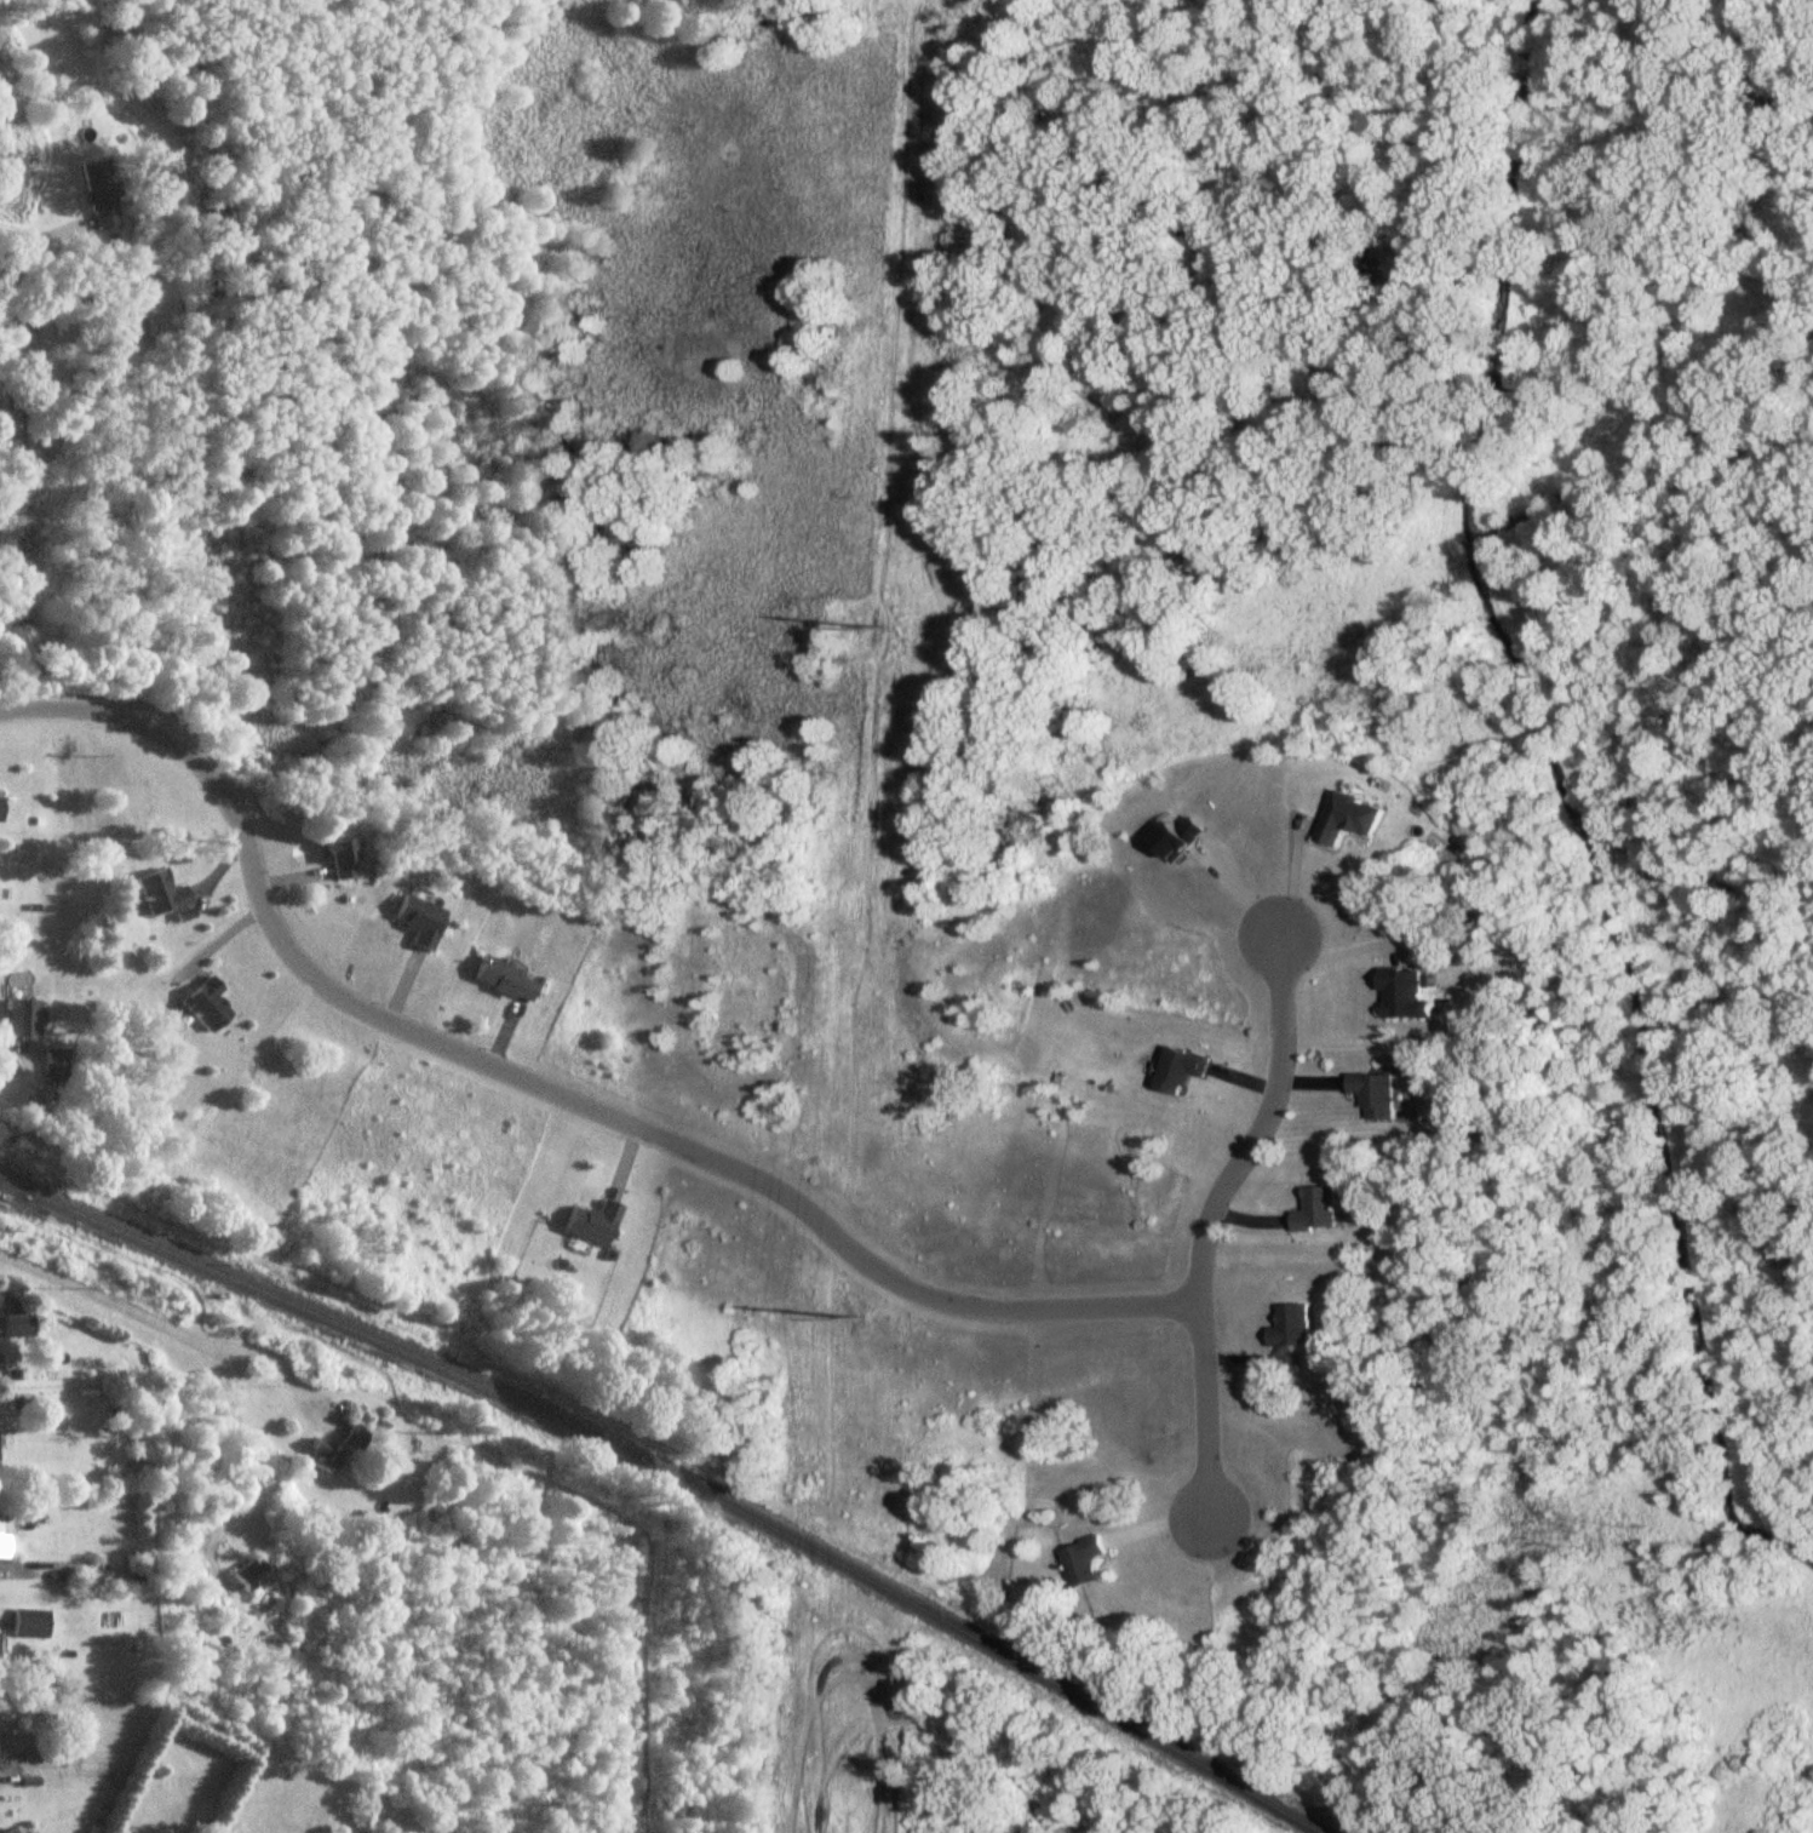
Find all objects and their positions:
building: (102, 195)
road: (39, 230)
building: (138, 328)
power tower: (884, 629)
building: (0, 804)
building: (1347, 818)
building: (344, 857)
road: (1295, 873)
building: (161, 890)
building: (420, 918)
building: (505, 976)
building: (1401, 995)
building: (208, 1002)
building: (22, 1018)
building: (56, 1064)
road: (12, 1066)
building: (1180, 1069)
road: (544, 1089)
building: (1372, 1094)
building: (1315, 1209)
building: (593, 1221)
road: (1212, 1221)
power tower: (861, 1319)
building: (18, 1321)
building: (1290, 1327)
road: (205, 1341)
road: (280, 1357)
building: (352, 1436)
building: (325, 1454)
railway: (679, 1480)
building: (0, 1535)
building: (1083, 1560)
road: (19, 1564)
building: (252, 1575)
building: (29, 1623)
building: (0, 1649)
building: (11, 1831)

